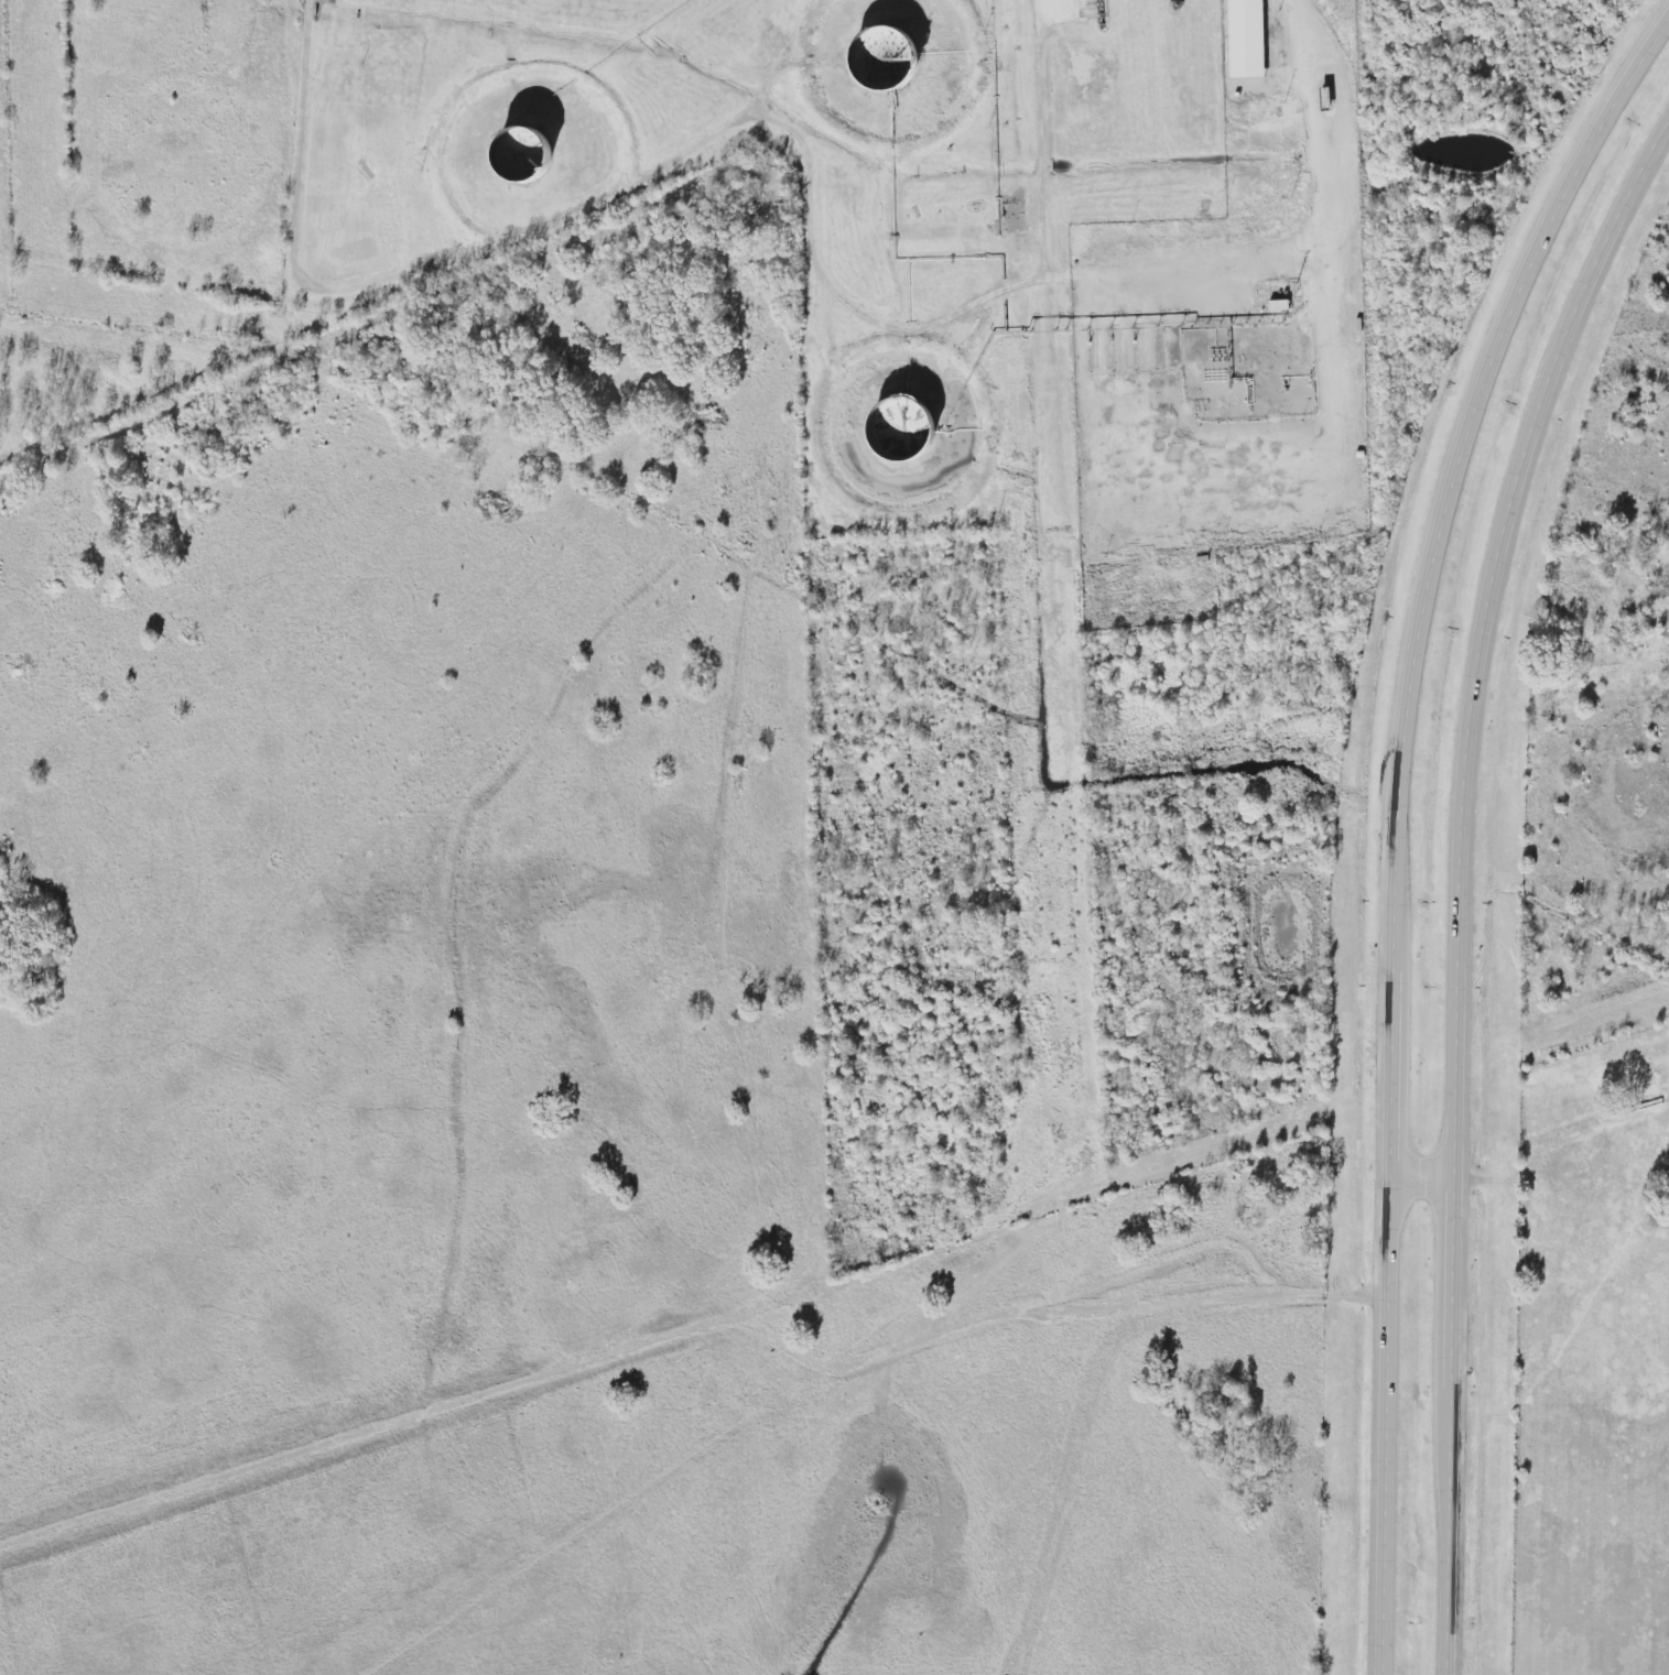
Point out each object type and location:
building: (1249, 39)
road: (625, 198)
building: (1280, 304)
road: (1352, 376)
road: (1069, 584)
road: (1401, 820)
road: (1467, 883)
road: (1428, 1171)

